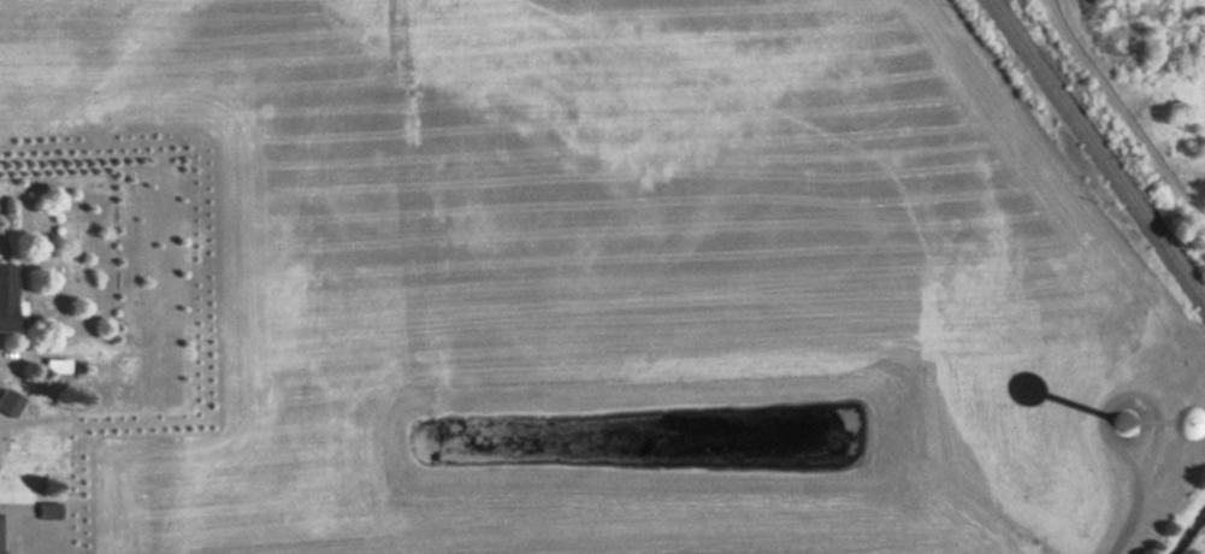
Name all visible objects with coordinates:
railway: (1097, 152)
building: (6, 295)
building: (163, 383)
building: (7, 402)
building: (1100, 415)
water tower: (1128, 417)
building: (47, 509)

